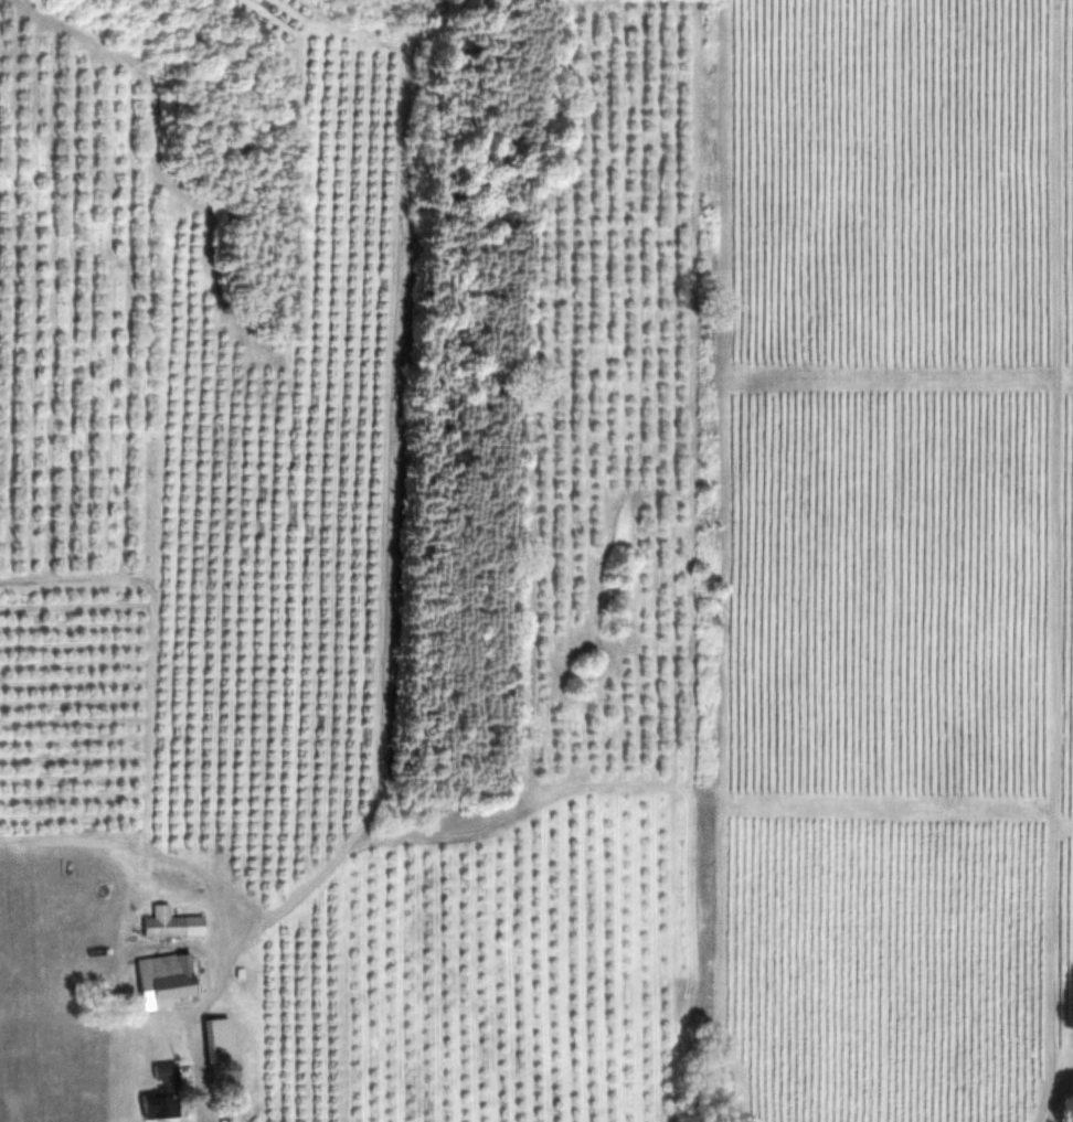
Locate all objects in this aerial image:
building: (172, 923)
building: (167, 980)
building: (221, 1040)
road: (1067, 1110)

